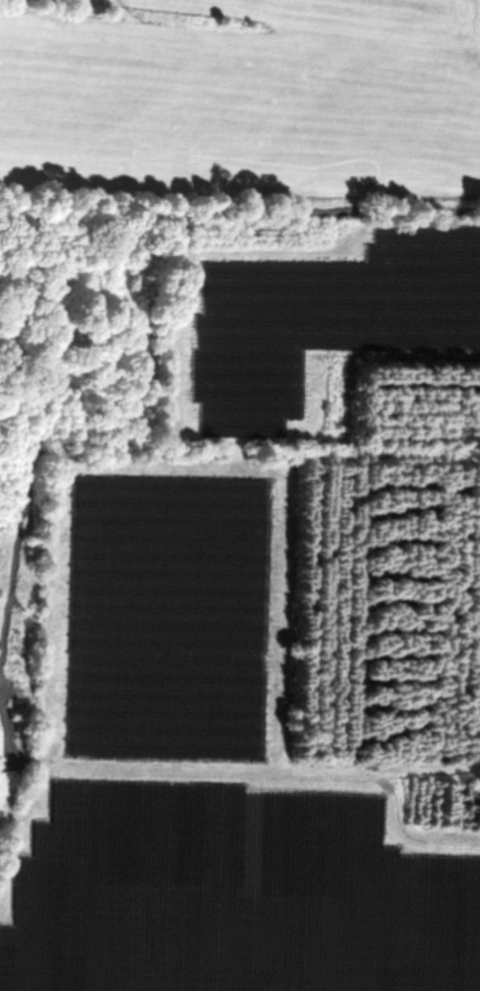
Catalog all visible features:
crop: (235, 499)

